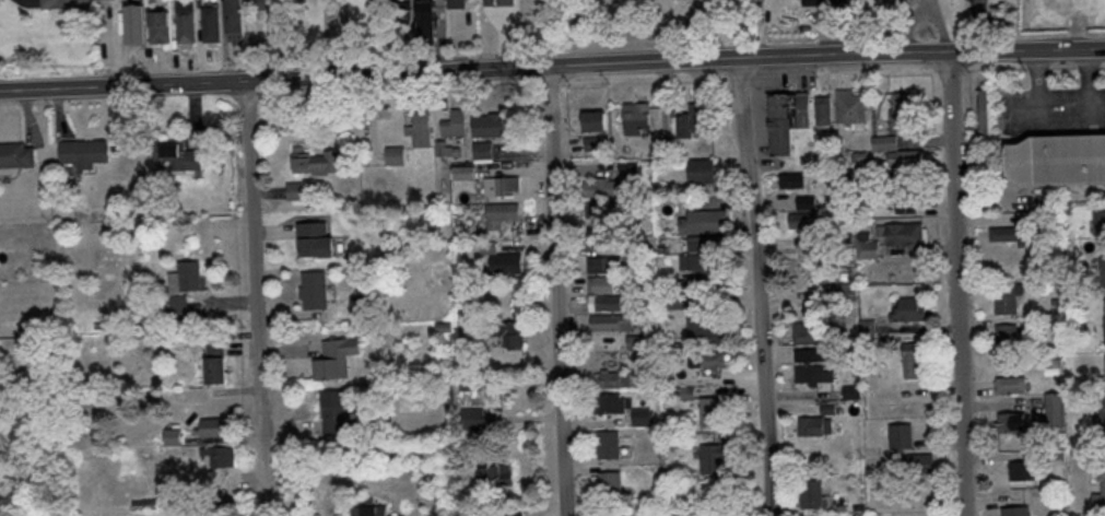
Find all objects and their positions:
building: (259, 1)
building: (490, 1)
building: (506, 1)
building: (812, 1)
building: (839, 2)
building: (64, 3)
building: (457, 3)
building: (407, 9)
building: (427, 17)
building: (235, 20)
building: (185, 21)
park: (653, 21)
building: (134, 23)
building: (210, 23)
building: (160, 25)
parking lot: (623, 45)
road: (552, 67)
building: (850, 104)
building: (823, 108)
building: (901, 110)
building: (985, 110)
parking lot: (1045, 110)
building: (636, 116)
building: (595, 119)
building: (691, 119)
building: (786, 119)
building: (455, 122)
building: (487, 124)
building: (420, 128)
building: (884, 142)
building: (443, 148)
building: (483, 149)
building: (84, 151)
building: (15, 154)
building: (177, 154)
building: (393, 154)
building: (904, 156)
building: (315, 160)
building: (1055, 161)
building: (701, 169)
building: (463, 172)
building: (791, 178)
building: (610, 180)
building: (501, 185)
building: (293, 189)
building: (904, 197)
building: (806, 200)
building: (593, 208)
building: (501, 213)
building: (802, 219)
building: (704, 221)
building: (1098, 221)
building: (901, 232)
building: (315, 238)
building: (867, 247)
building: (501, 258)
building: (696, 260)
building: (601, 263)
building: (601, 283)
road: (255, 284)
road: (959, 284)
road: (761, 286)
building: (185, 289)
building: (314, 289)
road: (557, 292)
building: (1007, 296)
building: (604, 301)
building: (909, 308)
building: (611, 320)
building: (1104, 322)
building: (867, 326)
building: (703, 328)
building: (806, 328)
building: (508, 331)
building: (1006, 333)
building: (808, 353)
building: (336, 356)
building: (1104, 356)
building: (706, 357)
building: (913, 359)
building: (214, 360)
building: (812, 373)
building: (613, 377)
building: (1011, 384)
building: (850, 390)
building: (609, 402)
building: (830, 407)
building: (1055, 407)
building: (709, 410)
building: (332, 411)
building: (1102, 413)
building: (640, 415)
building: (472, 417)
building: (1011, 422)
building: (814, 424)
building: (213, 426)
building: (172, 435)
building: (900, 435)
building: (608, 444)
building: (221, 455)
building: (710, 458)
building: (920, 461)
building: (1022, 469)
building: (493, 471)
building: (609, 481)
building: (810, 492)
building: (1100, 492)
road: (265, 502)
building: (369, 509)
building: (1014, 511)
building: (513, 514)

